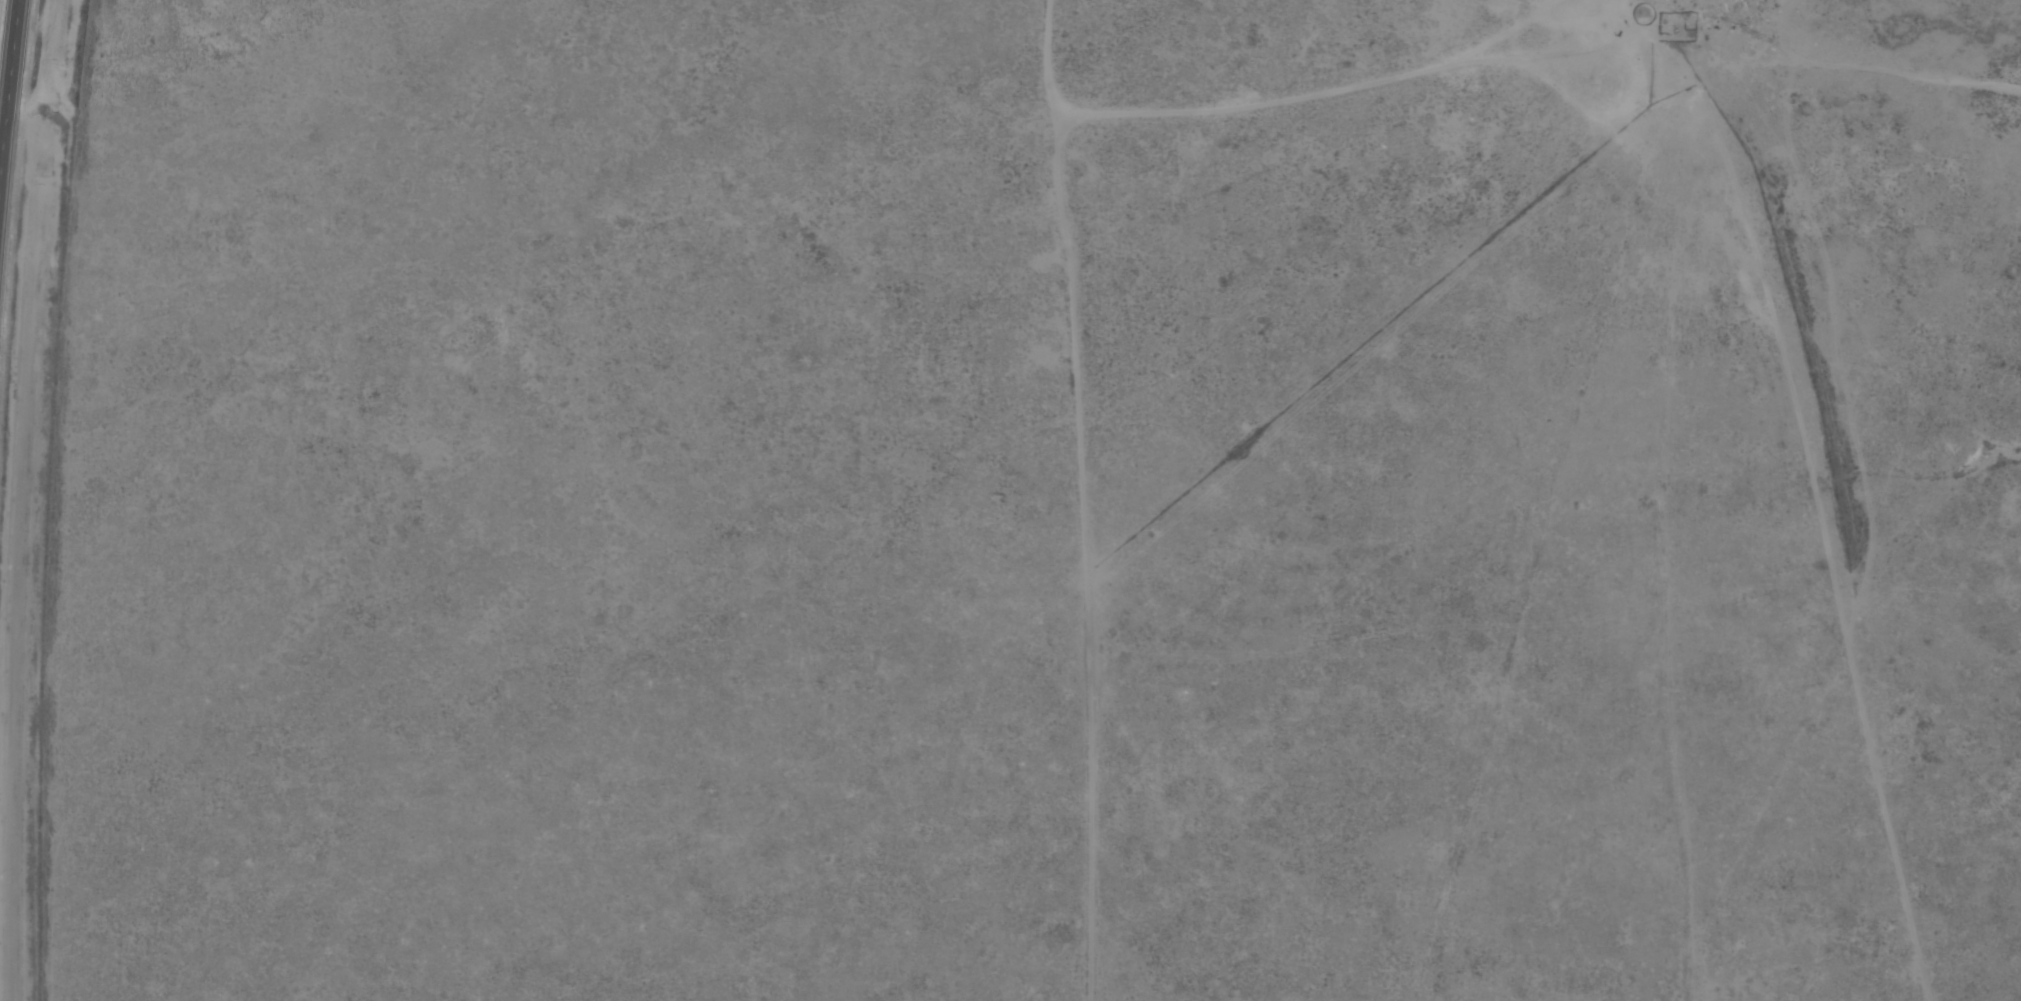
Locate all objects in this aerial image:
road: (3, 51)
road: (1297, 92)

